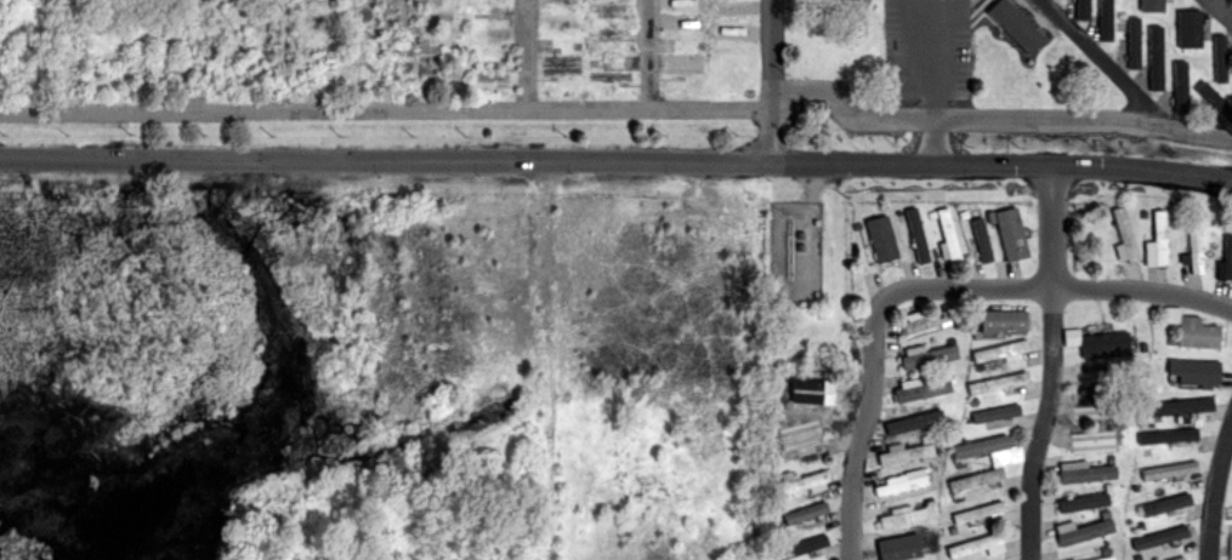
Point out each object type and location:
road: (897, 1)
building: (1145, 2)
road: (1224, 7)
building: (1083, 8)
building: (1105, 19)
building: (1016, 24)
building: (1188, 28)
building: (1134, 41)
road: (933, 42)
parking lot: (927, 48)
road: (648, 53)
road: (278, 55)
road: (402, 55)
road: (526, 55)
road: (69, 56)
building: (1156, 57)
road: (1102, 59)
building: (1220, 59)
building: (1228, 76)
road: (771, 81)
building: (1180, 82)
building: (1213, 98)
road: (385, 109)
building: (817, 112)
road: (1000, 115)
road: (936, 141)
road: (615, 161)
road: (1051, 167)
building: (1177, 213)
building: (899, 215)
building: (931, 215)
building: (963, 215)
building: (1142, 215)
building: (989, 218)
building: (816, 223)
building: (856, 227)
building: (1125, 234)
building: (800, 235)
building: (948, 235)
building: (1010, 235)
building: (916, 236)
building: (880, 239)
building: (1159, 239)
building: (981, 240)
building: (1193, 246)
building: (800, 247)
building: (1227, 255)
road: (924, 285)
building: (814, 295)
building: (780, 304)
building: (801, 304)
building: (811, 304)
building: (930, 321)
building: (1003, 322)
building: (955, 324)
building: (1197, 333)
building: (975, 336)
building: (1071, 336)
building: (950, 341)
building: (1170, 342)
building: (1105, 344)
building: (1135, 347)
building: (1000, 352)
building: (929, 358)
building: (1128, 364)
building: (978, 367)
building: (1196, 371)
building: (944, 373)
building: (1106, 378)
building: (772, 379)
building: (997, 384)
building: (811, 389)
building: (921, 392)
building: (787, 393)
building: (973, 402)
building: (1180, 405)
building: (935, 406)
building: (1103, 411)
building: (995, 412)
building: (913, 422)
road: (1041, 423)
building: (1105, 428)
building: (1168, 435)
building: (794, 436)
building: (926, 439)
building: (1094, 441)
building: (980, 447)
building: (768, 450)
building: (904, 455)
building: (1109, 458)
building: (960, 464)
building: (1169, 469)
building: (921, 470)
building: (1086, 474)
building: (948, 478)
building: (975, 480)
building: (800, 484)
building: (901, 485)
building: (1106, 487)
road: (1215, 490)
building: (929, 502)
building: (1085, 503)
building: (1165, 505)
building: (771, 509)
building: (977, 512)
building: (1103, 514)
building: (797, 516)
building: (905, 518)
building: (1137, 526)
building: (1084, 532)
building: (783, 533)
building: (927, 535)
building: (1159, 538)
building: (973, 545)
building: (799, 548)
building: (905, 550)
building: (1105, 550)
building: (1136, 558)
building: (1106, 559)
building: (1180, 559)

